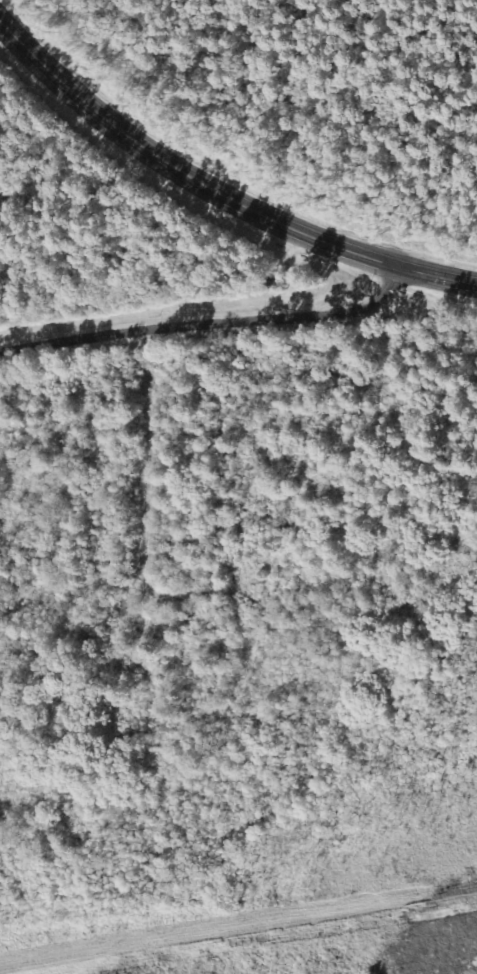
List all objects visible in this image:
road: (216, 191)
road: (210, 326)

